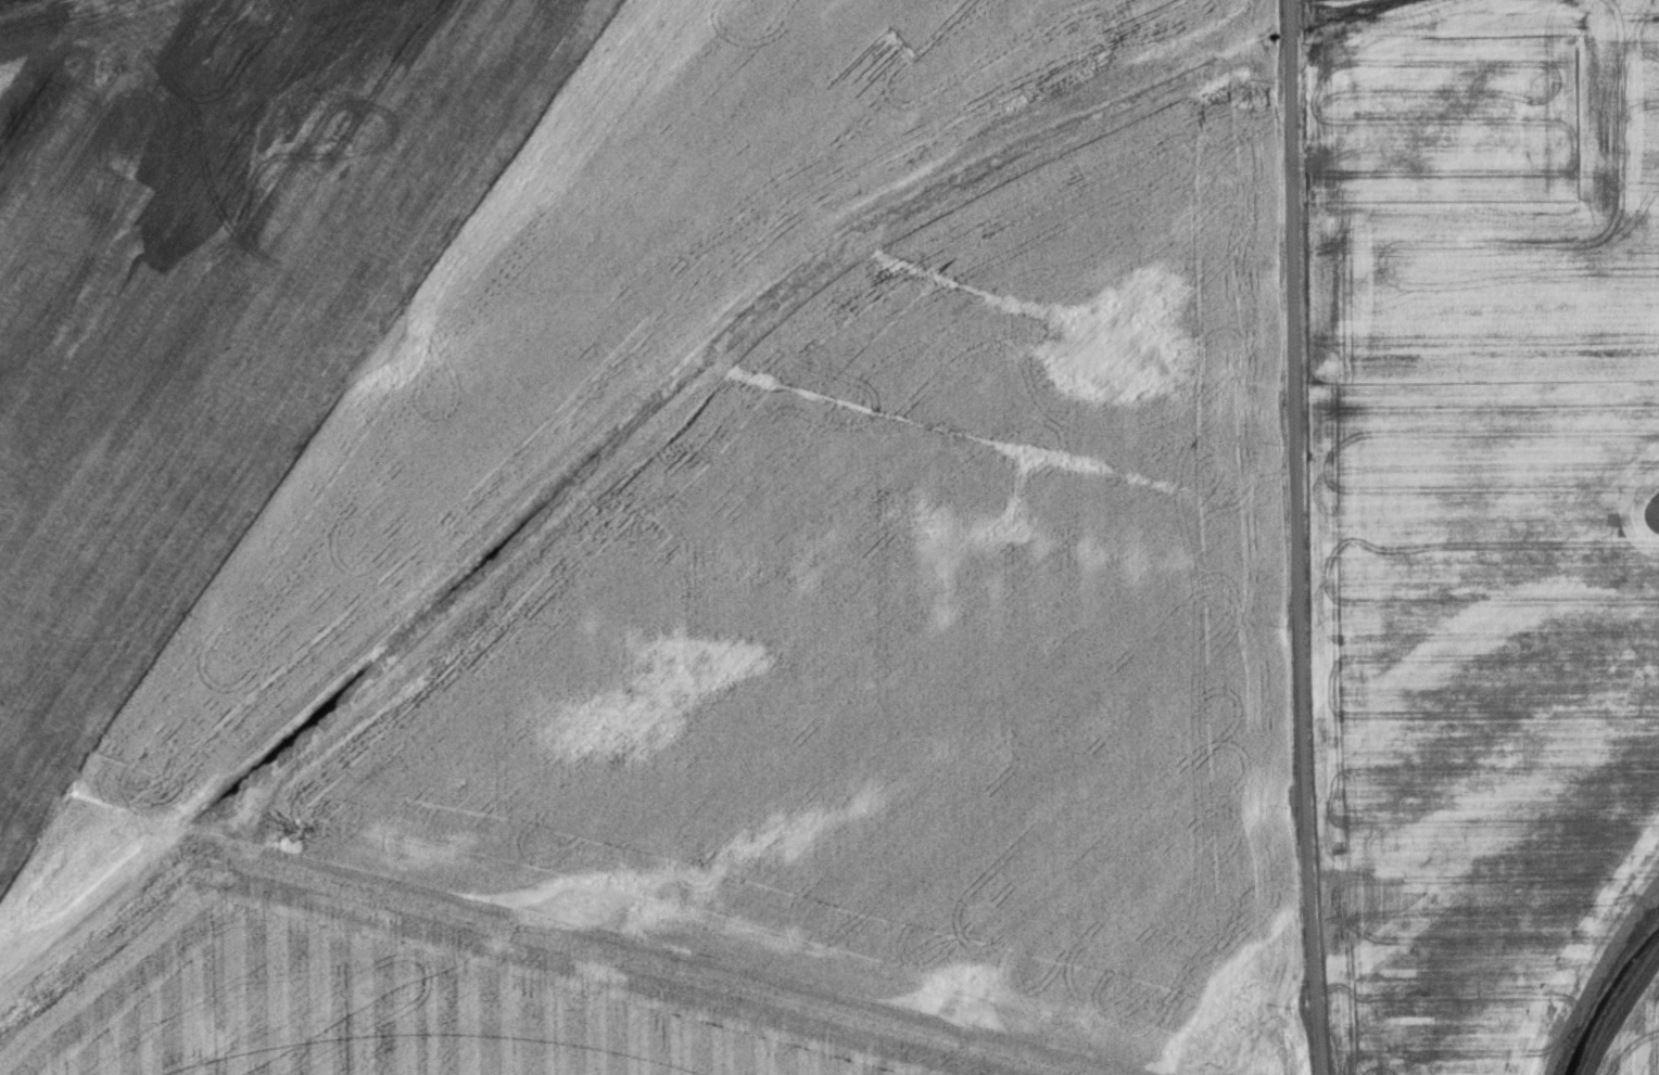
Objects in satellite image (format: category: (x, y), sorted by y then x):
road: (1294, 537)

